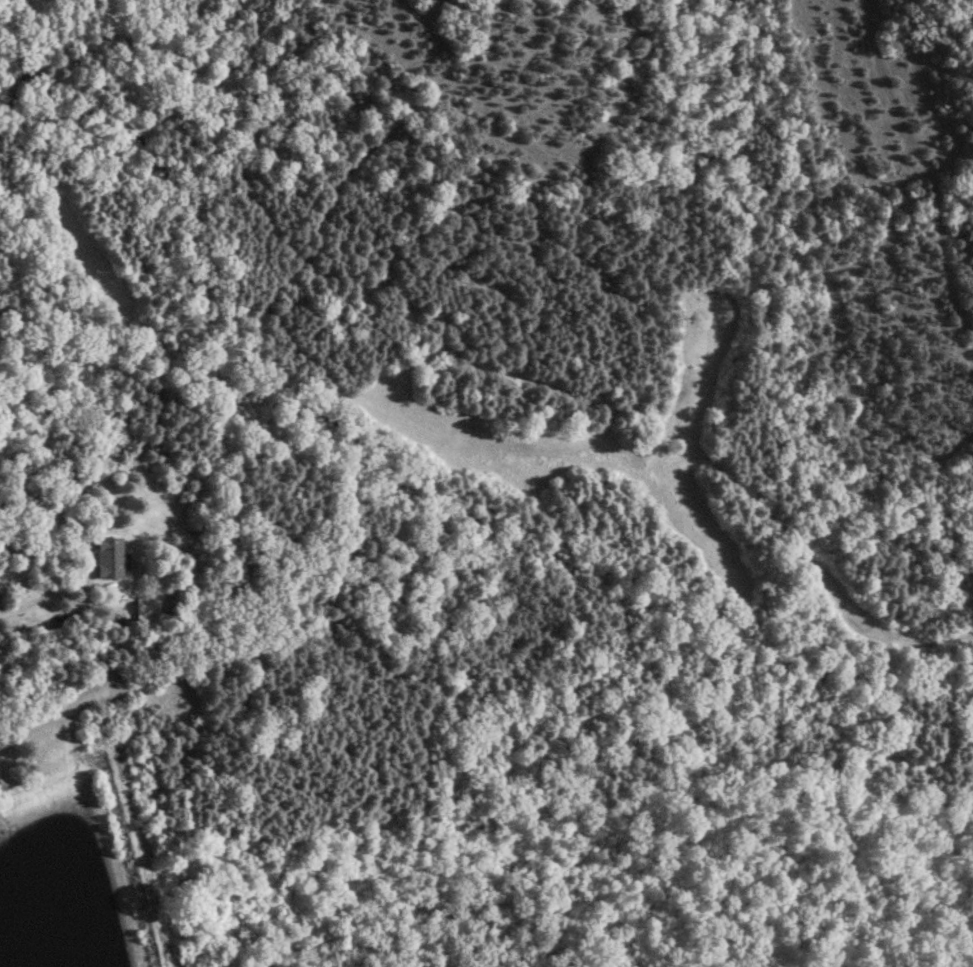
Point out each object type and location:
building: (106, 557)
road: (37, 599)
building: (145, 608)

